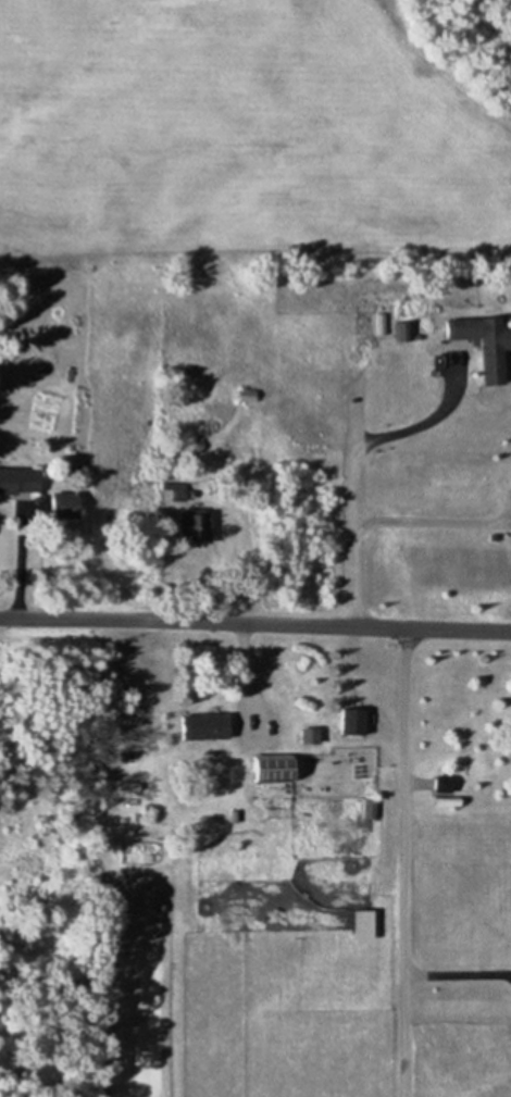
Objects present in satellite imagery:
crop: (250, 129)
building: (486, 345)
building: (248, 396)
road: (353, 474)
building: (20, 482)
road: (432, 523)
building: (192, 524)
road: (22, 566)
road: (229, 583)
road: (255, 623)
road: (241, 669)
building: (353, 722)
building: (205, 727)
building: (275, 769)
road: (406, 861)
building: (364, 925)
road: (458, 975)

